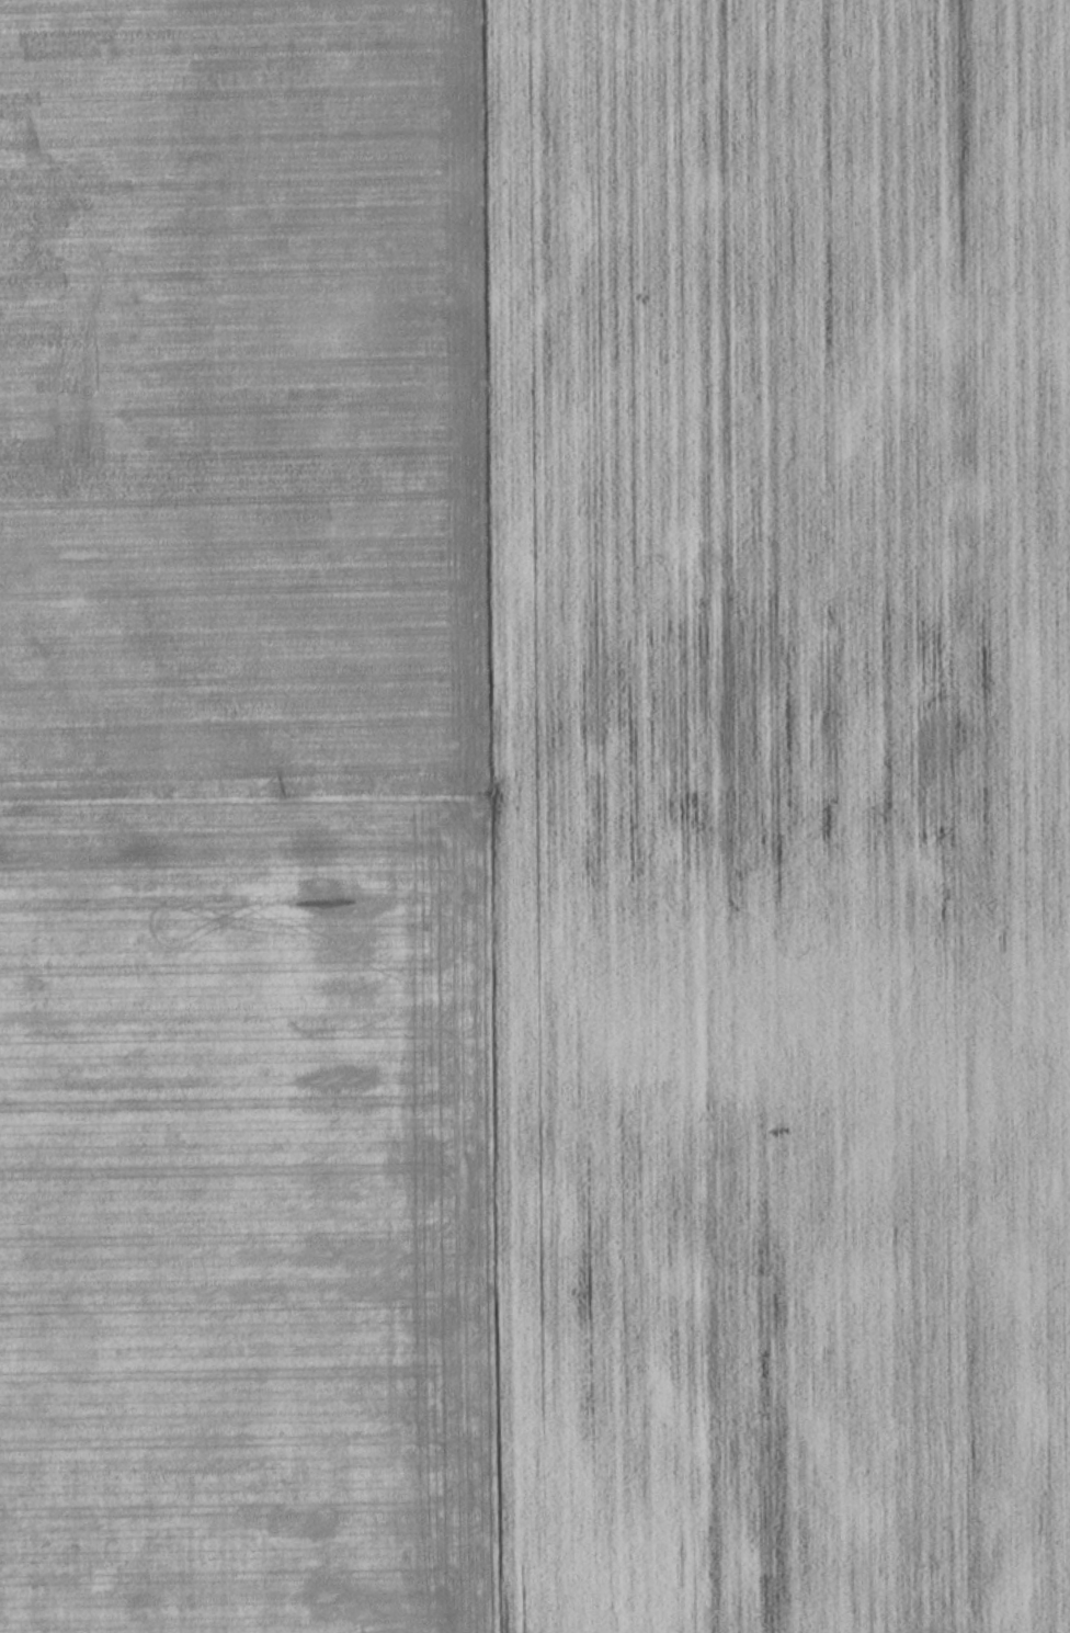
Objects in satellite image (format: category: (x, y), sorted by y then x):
crop: (777, 812)
crop: (242, 821)

